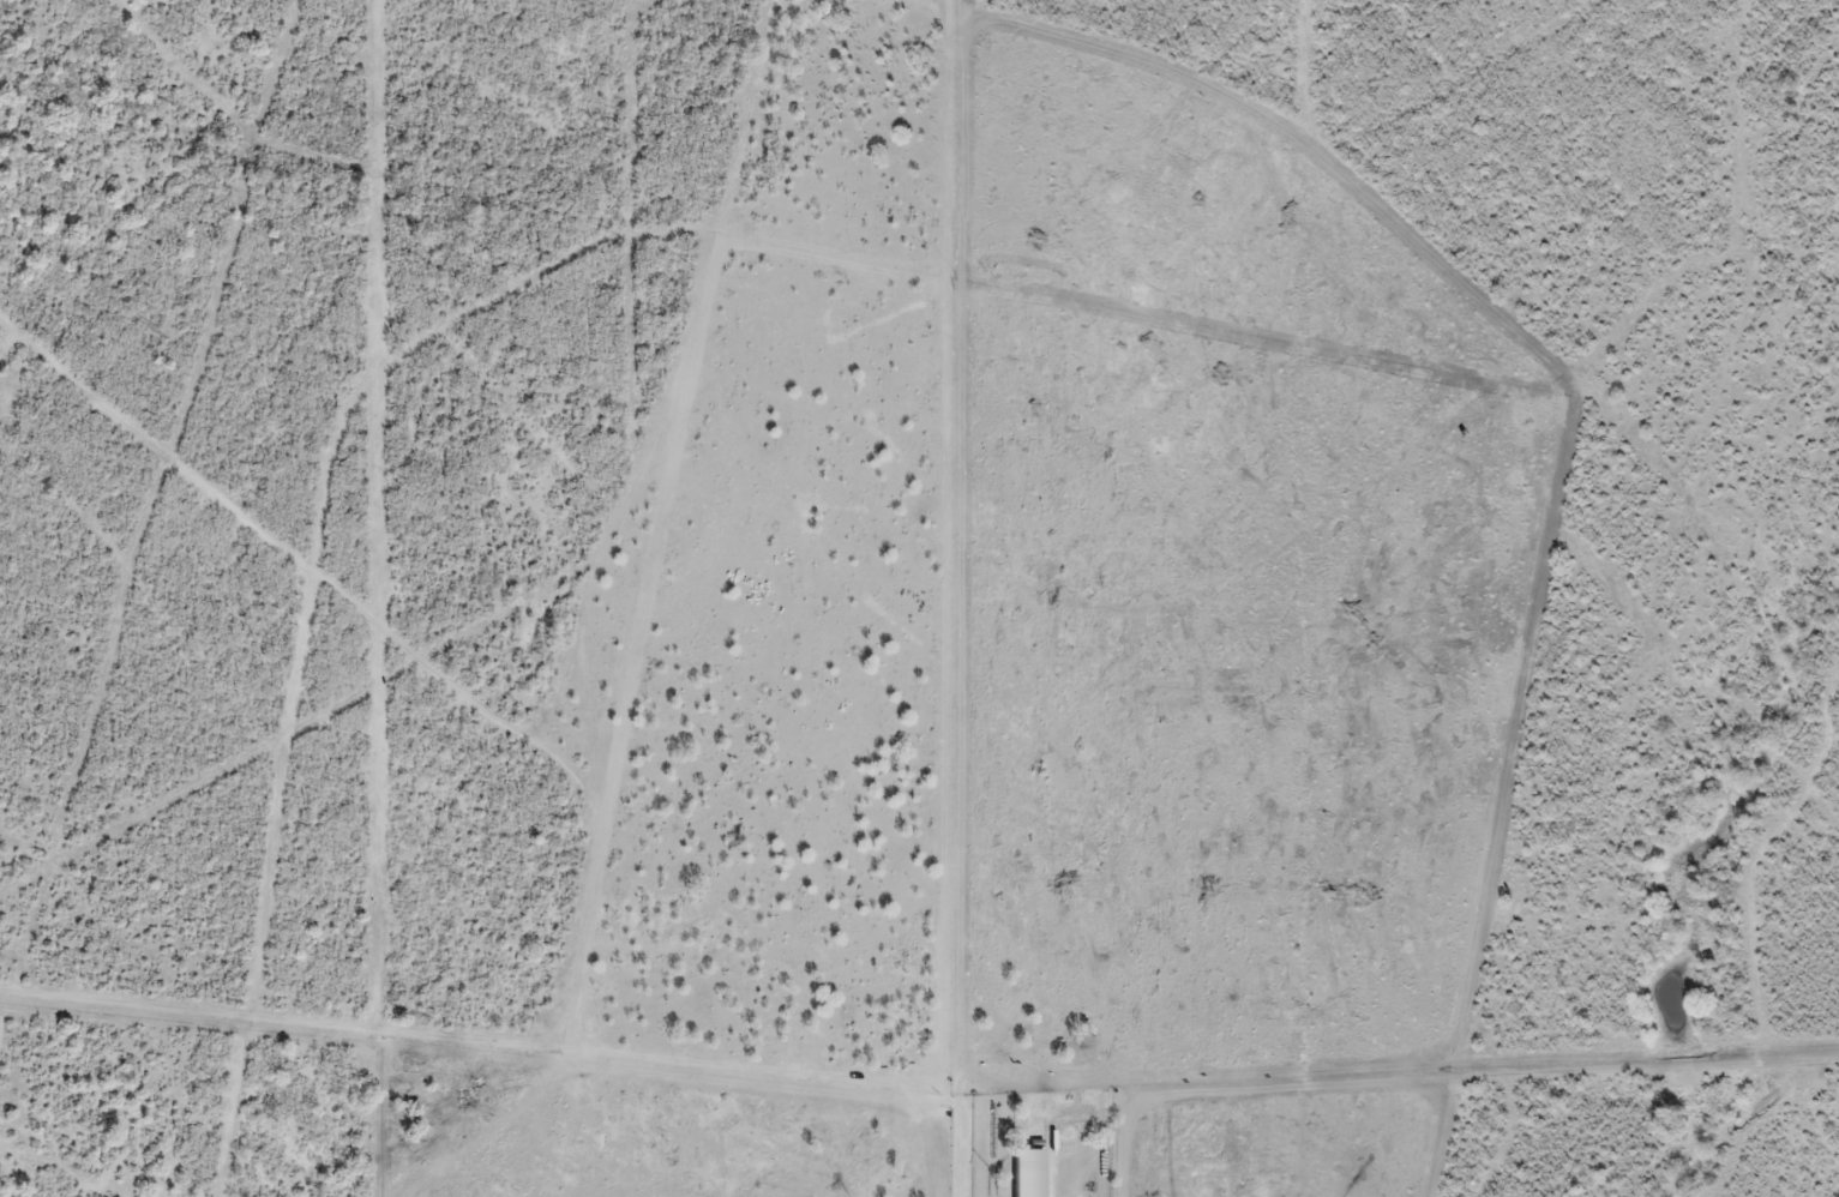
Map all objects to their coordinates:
building: (1032, 1173)

